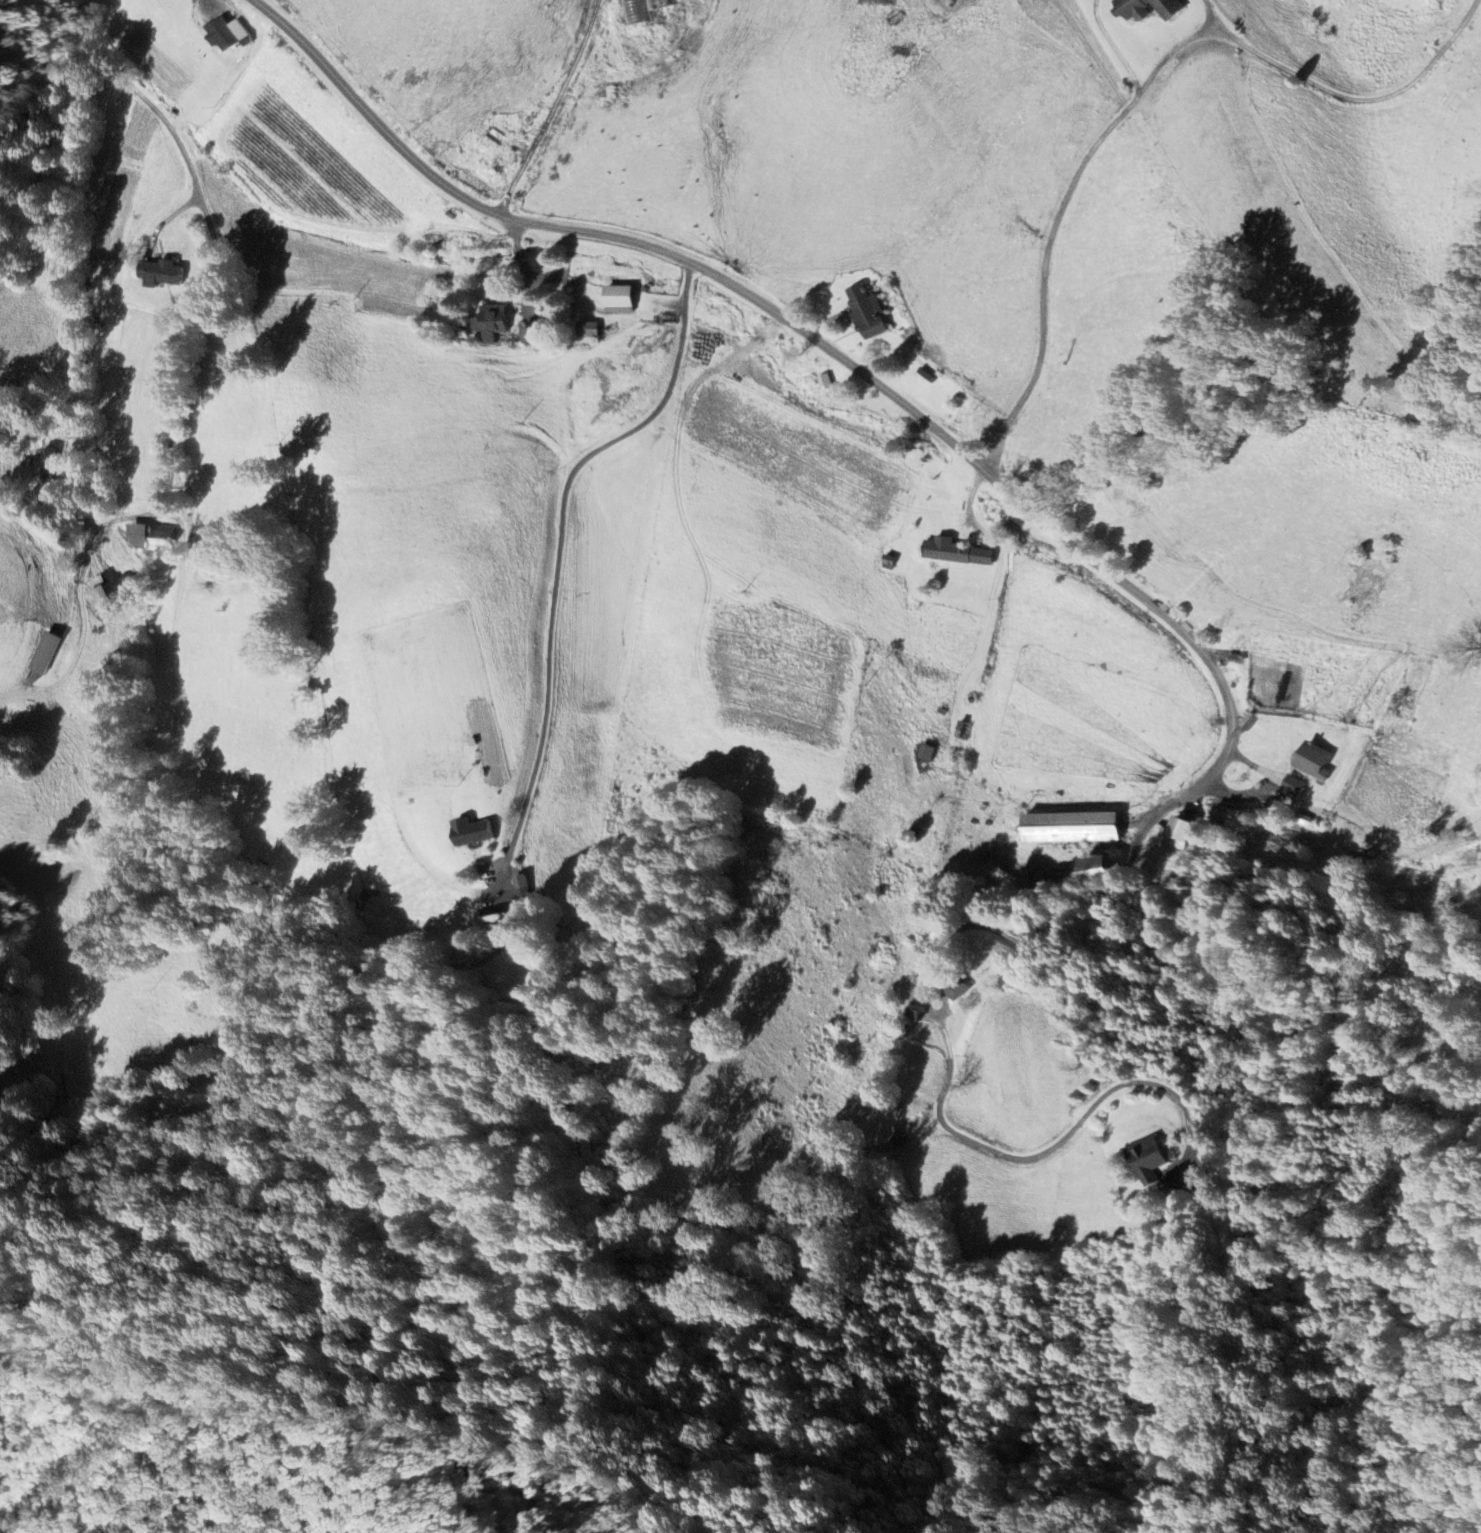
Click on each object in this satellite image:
building: (1152, 9)
building: (645, 10)
building: (229, 34)
road: (1142, 91)
road: (550, 107)
building: (165, 274)
road: (205, 288)
building: (621, 299)
building: (868, 312)
building: (492, 322)
building: (589, 329)
building: (50, 462)
building: (153, 536)
road: (559, 539)
building: (958, 552)
building: (105, 596)
road: (1147, 599)
building: (48, 653)
building: (928, 752)
building: (1316, 761)
building: (1293, 785)
building: (1075, 827)
building: (476, 831)
building: (1179, 832)
building: (1098, 865)
building: (524, 886)
building: (1151, 1159)

